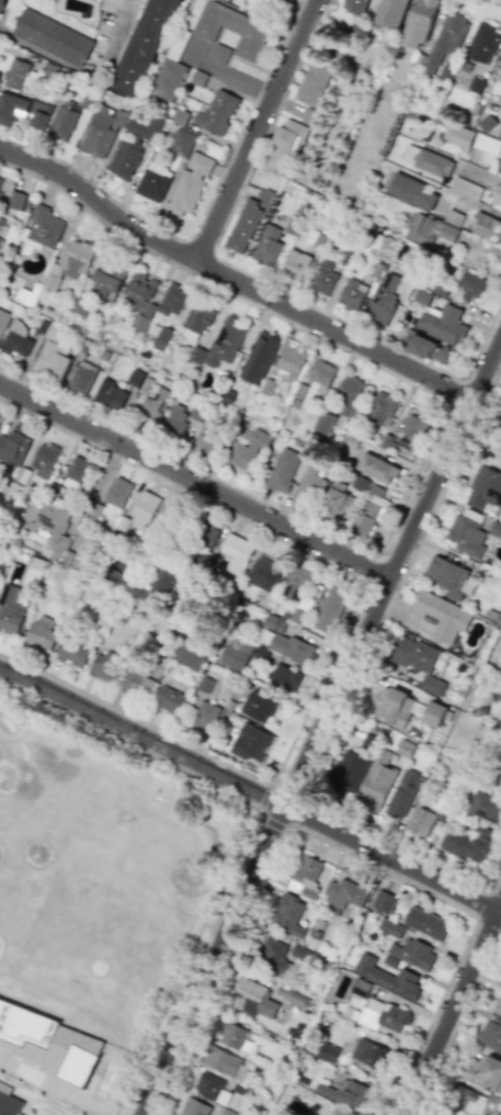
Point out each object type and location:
building: (356, 5)
building: (391, 13)
building: (419, 23)
building: (231, 29)
building: (53, 37)
building: (446, 41)
building: (482, 43)
building: (144, 47)
building: (219, 54)
building: (500, 60)
road: (81, 69)
building: (169, 74)
building: (15, 75)
road: (229, 76)
building: (312, 85)
building: (20, 112)
building: (217, 113)
building: (309, 116)
building: (64, 120)
building: (145, 129)
road: (257, 129)
building: (102, 131)
building: (500, 136)
building: (457, 137)
building: (181, 142)
building: (487, 144)
building: (284, 146)
building: (124, 158)
building: (426, 161)
building: (499, 167)
road: (482, 174)
building: (153, 182)
building: (190, 183)
building: (465, 188)
building: (411, 192)
building: (497, 195)
building: (11, 196)
road: (476, 205)
building: (453, 218)
building: (1, 221)
building: (247, 223)
building: (486, 228)
building: (42, 229)
building: (431, 233)
building: (0, 240)
building: (266, 246)
building: (295, 264)
building: (323, 278)
building: (109, 279)
road: (234, 279)
building: (472, 286)
building: (139, 290)
building: (352, 294)
building: (172, 300)
building: (384, 300)
building: (82, 305)
building: (3, 320)
building: (197, 320)
building: (140, 322)
building: (443, 324)
building: (161, 338)
building: (16, 339)
building: (226, 341)
building: (424, 347)
building: (196, 356)
building: (259, 358)
building: (52, 360)
building: (292, 363)
building: (322, 372)
building: (81, 379)
building: (136, 379)
building: (110, 395)
building: (348, 395)
building: (152, 409)
building: (383, 409)
building: (177, 419)
building: (324, 423)
building: (498, 429)
building: (412, 430)
building: (206, 439)
building: (15, 443)
building: (249, 451)
building: (492, 454)
building: (44, 458)
building: (377, 468)
building: (283, 470)
building: (75, 473)
road: (195, 482)
building: (360, 484)
building: (308, 486)
building: (485, 488)
building: (118, 493)
building: (339, 499)
building: (144, 508)
building: (171, 511)
building: (369, 514)
building: (48, 526)
building: (494, 528)
building: (467, 533)
building: (206, 534)
building: (237, 553)
building: (265, 574)
building: (449, 577)
building: (148, 584)
building: (298, 585)
building: (331, 608)
building: (10, 610)
building: (443, 616)
building: (274, 623)
building: (42, 633)
building: (286, 646)
building: (72, 653)
building: (236, 653)
building: (190, 654)
building: (419, 661)
building: (105, 666)
building: (284, 678)
building: (137, 684)
building: (169, 700)
building: (262, 705)
building: (395, 707)
building: (434, 713)
building: (205, 717)
road: (318, 728)
building: (251, 743)
building: (366, 743)
building: (405, 748)
building: (349, 770)
building: (456, 770)
building: (500, 780)
building: (377, 781)
road: (249, 793)
building: (403, 793)
building: (487, 807)
building: (421, 821)
building: (467, 844)
building: (306, 878)
building: (344, 893)
building: (384, 902)
building: (288, 914)
building: (426, 923)
building: (390, 927)
building: (297, 951)
building: (414, 954)
building: (274, 957)
building: (387, 977)
building: (361, 988)
building: (291, 995)
building: (254, 998)
road: (451, 1006)
building: (498, 1007)
building: (232, 1035)
building: (490, 1036)
building: (47, 1041)
building: (328, 1052)
building: (371, 1054)
building: (226, 1063)
building: (485, 1073)
building: (212, 1088)
building: (346, 1093)
building: (10, 1099)
building: (469, 1101)
building: (197, 1108)
building: (340, 1112)

